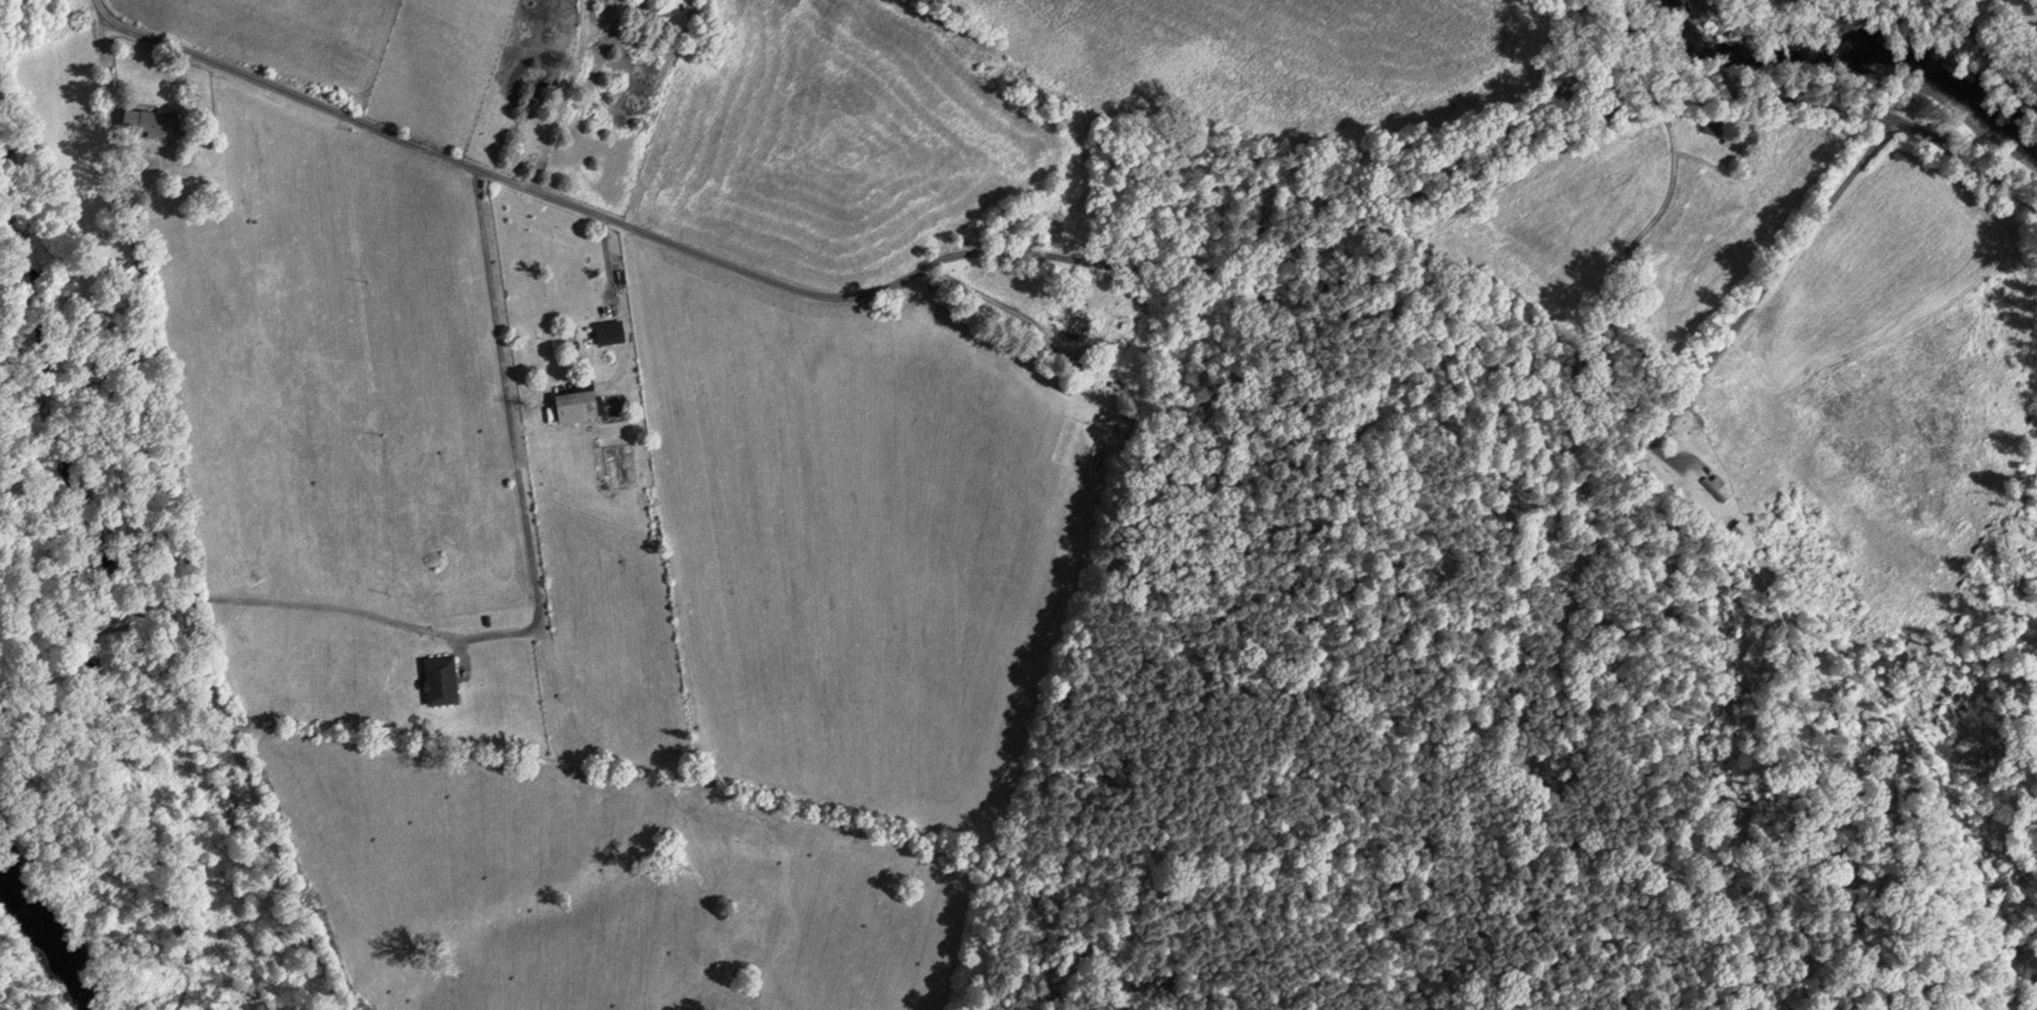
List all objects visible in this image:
road: (98, 10)
road: (1989, 54)
river: (1860, 78)
road: (551, 94)
building: (147, 119)
building: (1709, 127)
road: (598, 254)
road: (1075, 265)
road: (1759, 290)
building: (605, 330)
building: (576, 404)
road: (182, 525)
road: (521, 560)
building: (437, 678)
river: (32, 956)

